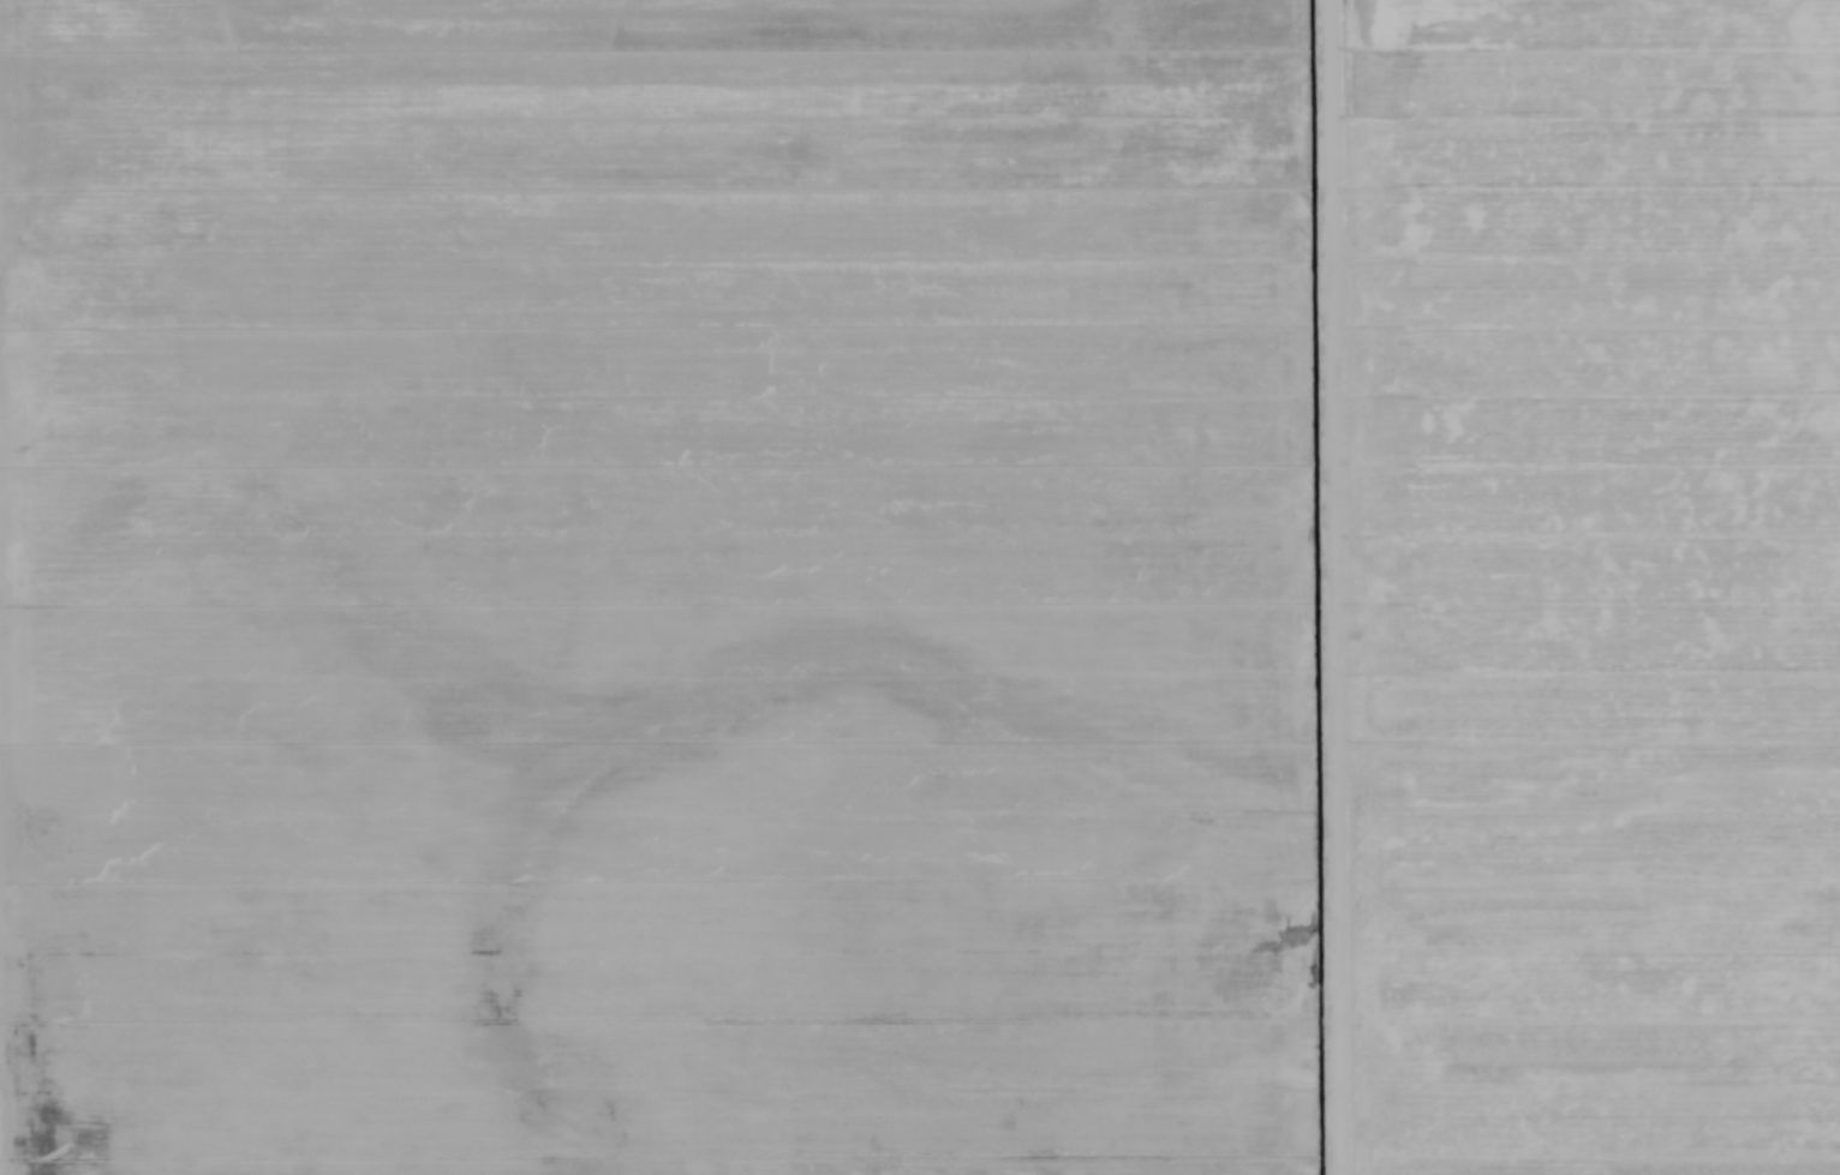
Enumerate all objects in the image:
crop: (920, 587)

